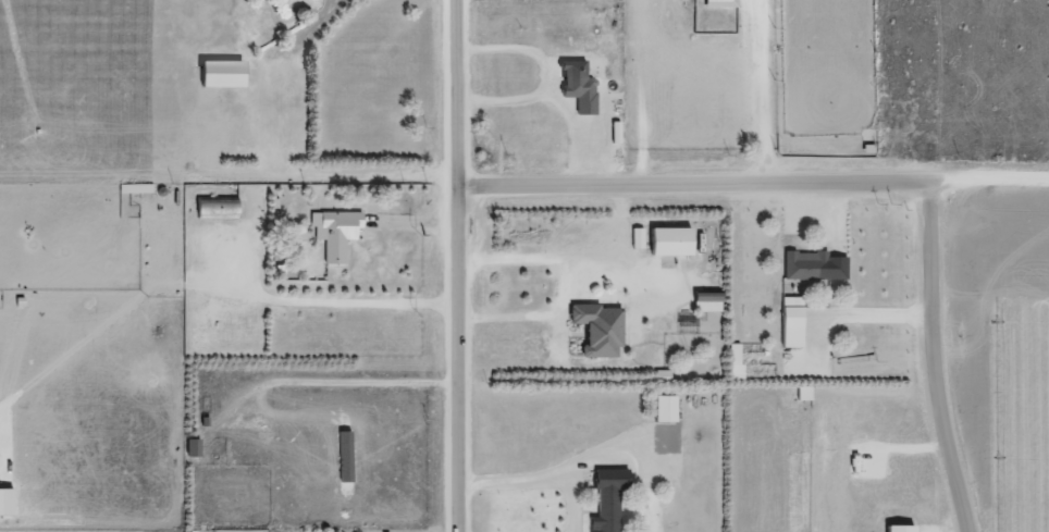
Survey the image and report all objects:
building: (719, 2)
road: (275, 70)
building: (219, 72)
building: (577, 85)
road: (761, 92)
road: (987, 183)
road: (690, 187)
building: (333, 232)
building: (635, 237)
building: (667, 240)
road: (243, 244)
road: (454, 265)
building: (812, 265)
building: (705, 301)
building: (790, 321)
building: (596, 329)
road: (926, 360)
building: (663, 408)
building: (190, 447)
building: (605, 498)
building: (4, 502)
building: (898, 528)

